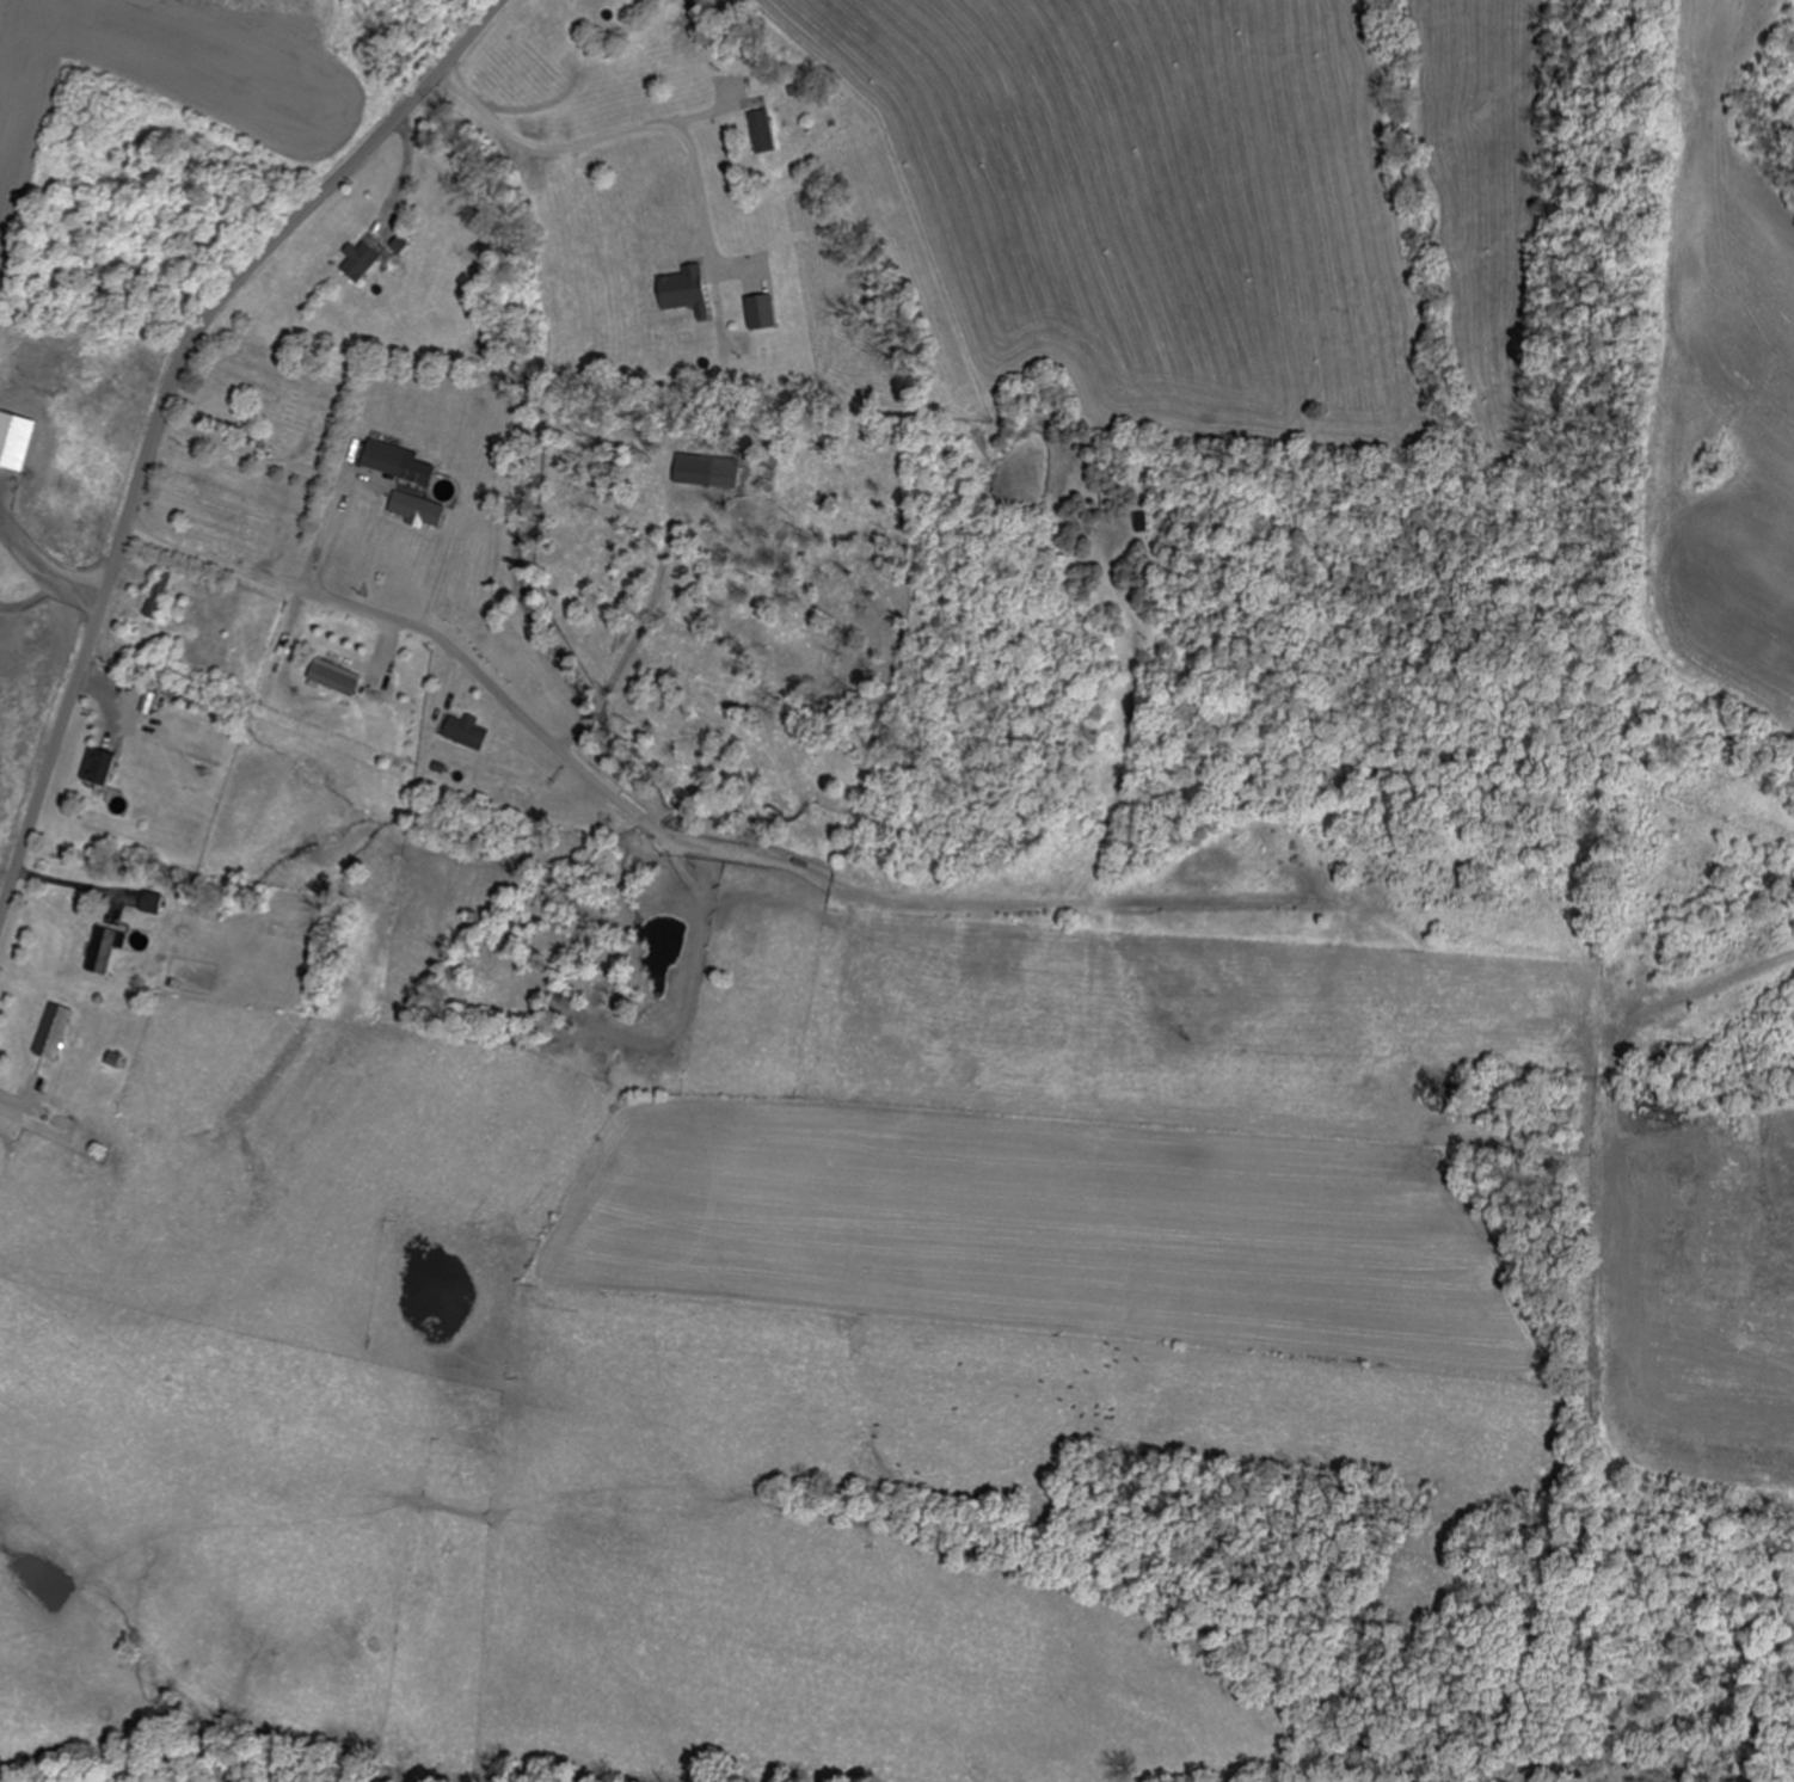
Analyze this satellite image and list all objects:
building: (540, 61)
building: (764, 131)
building: (363, 260)
building: (692, 346)
road: (164, 406)
building: (290, 419)
building: (6, 461)
building: (401, 462)
building: (420, 509)
building: (258, 520)
building: (1125, 543)
building: (160, 595)
building: (338, 677)
building: (468, 732)
building: (102, 768)
building: (153, 903)
building: (104, 951)
building: (60, 1033)

